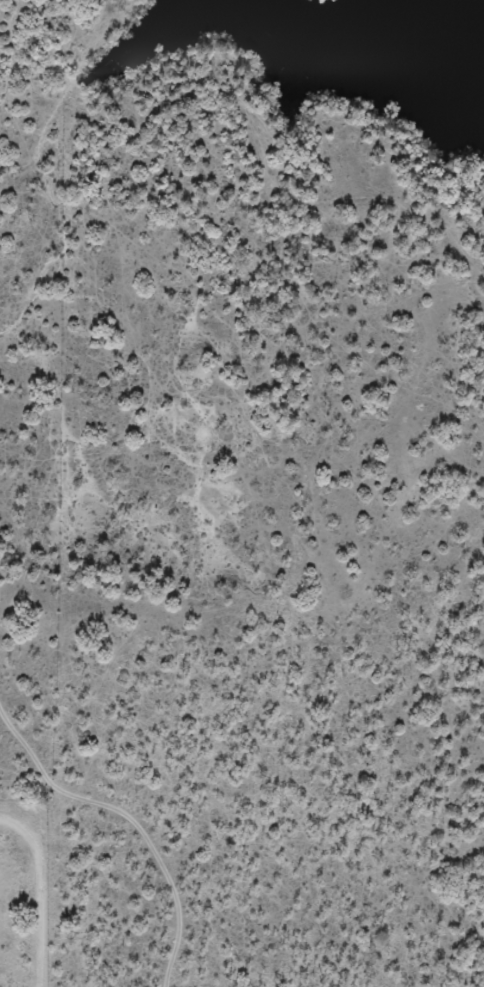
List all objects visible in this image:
river: (361, 71)

